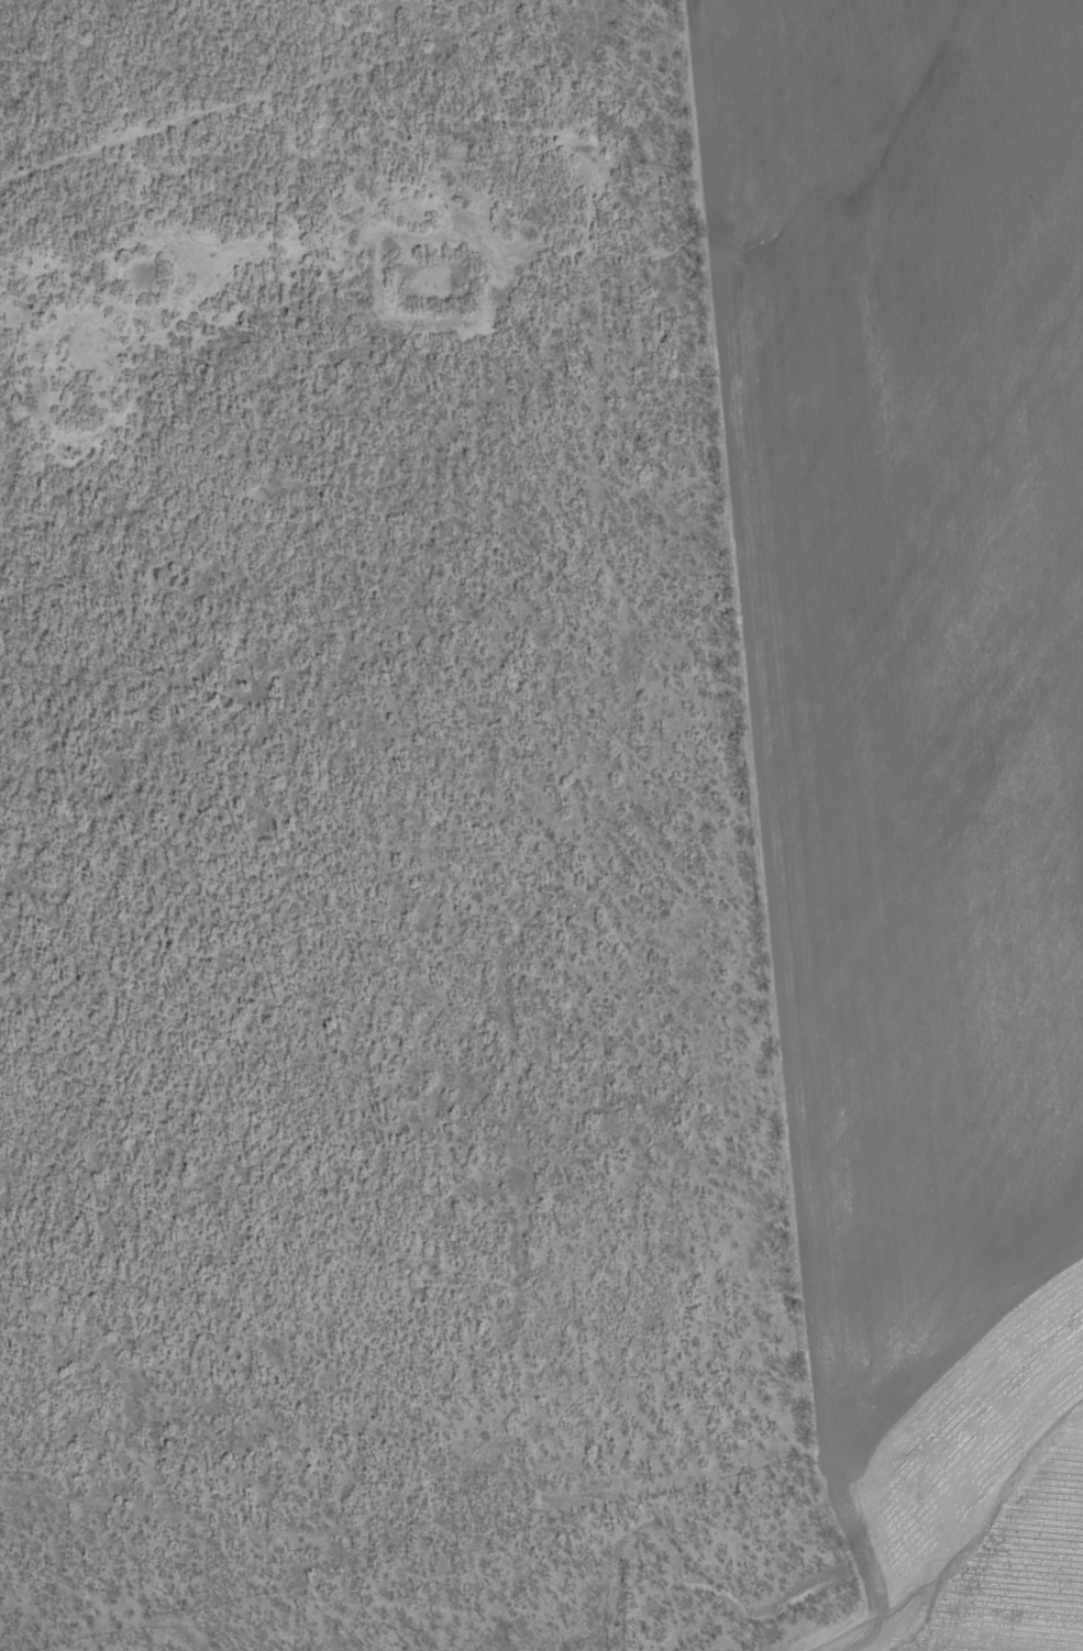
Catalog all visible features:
road: (279, 100)

